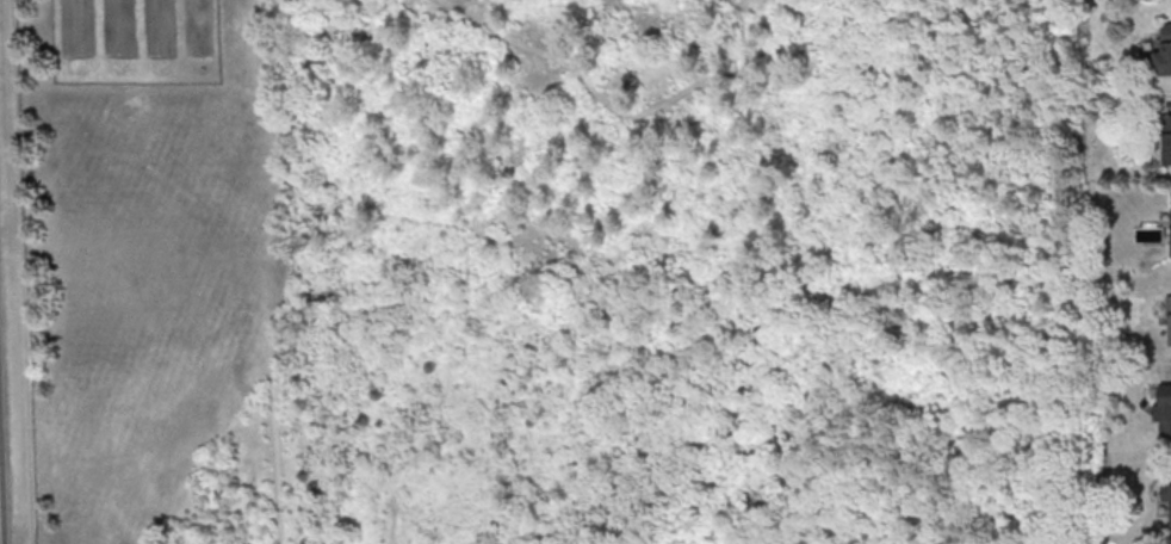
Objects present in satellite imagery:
building: (1164, 52)
road: (615, 109)
park: (533, 126)
building: (1166, 140)
road: (21, 272)
road: (267, 272)
building: (1170, 314)
park: (564, 398)
building: (1164, 412)
road: (811, 469)
road: (677, 490)
road: (601, 496)
road: (856, 511)

